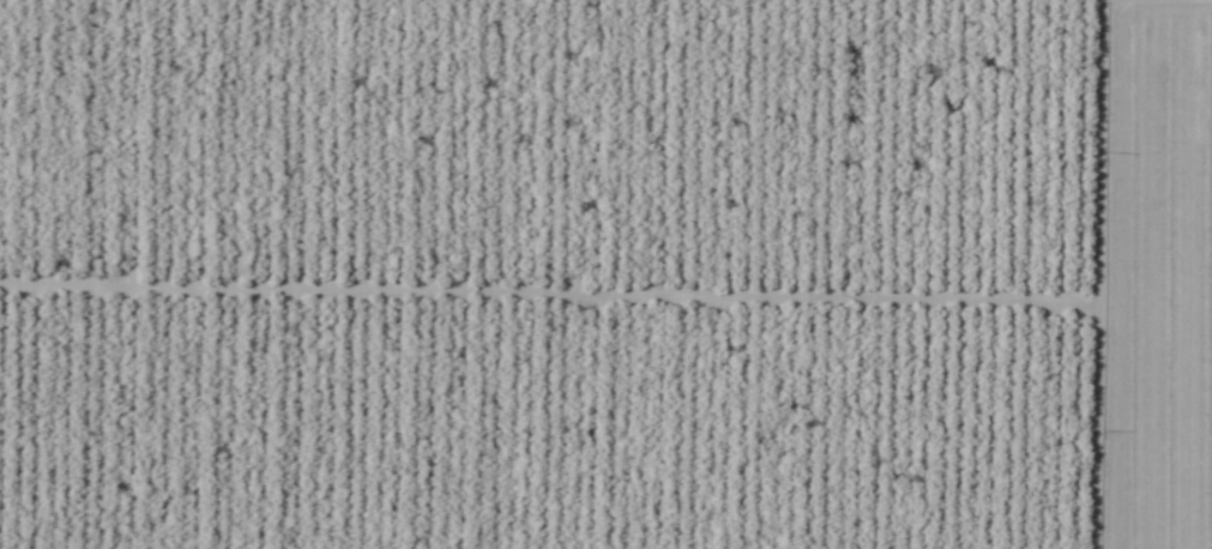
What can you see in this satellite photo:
road: (1072, 274)
crop: (1157, 277)

